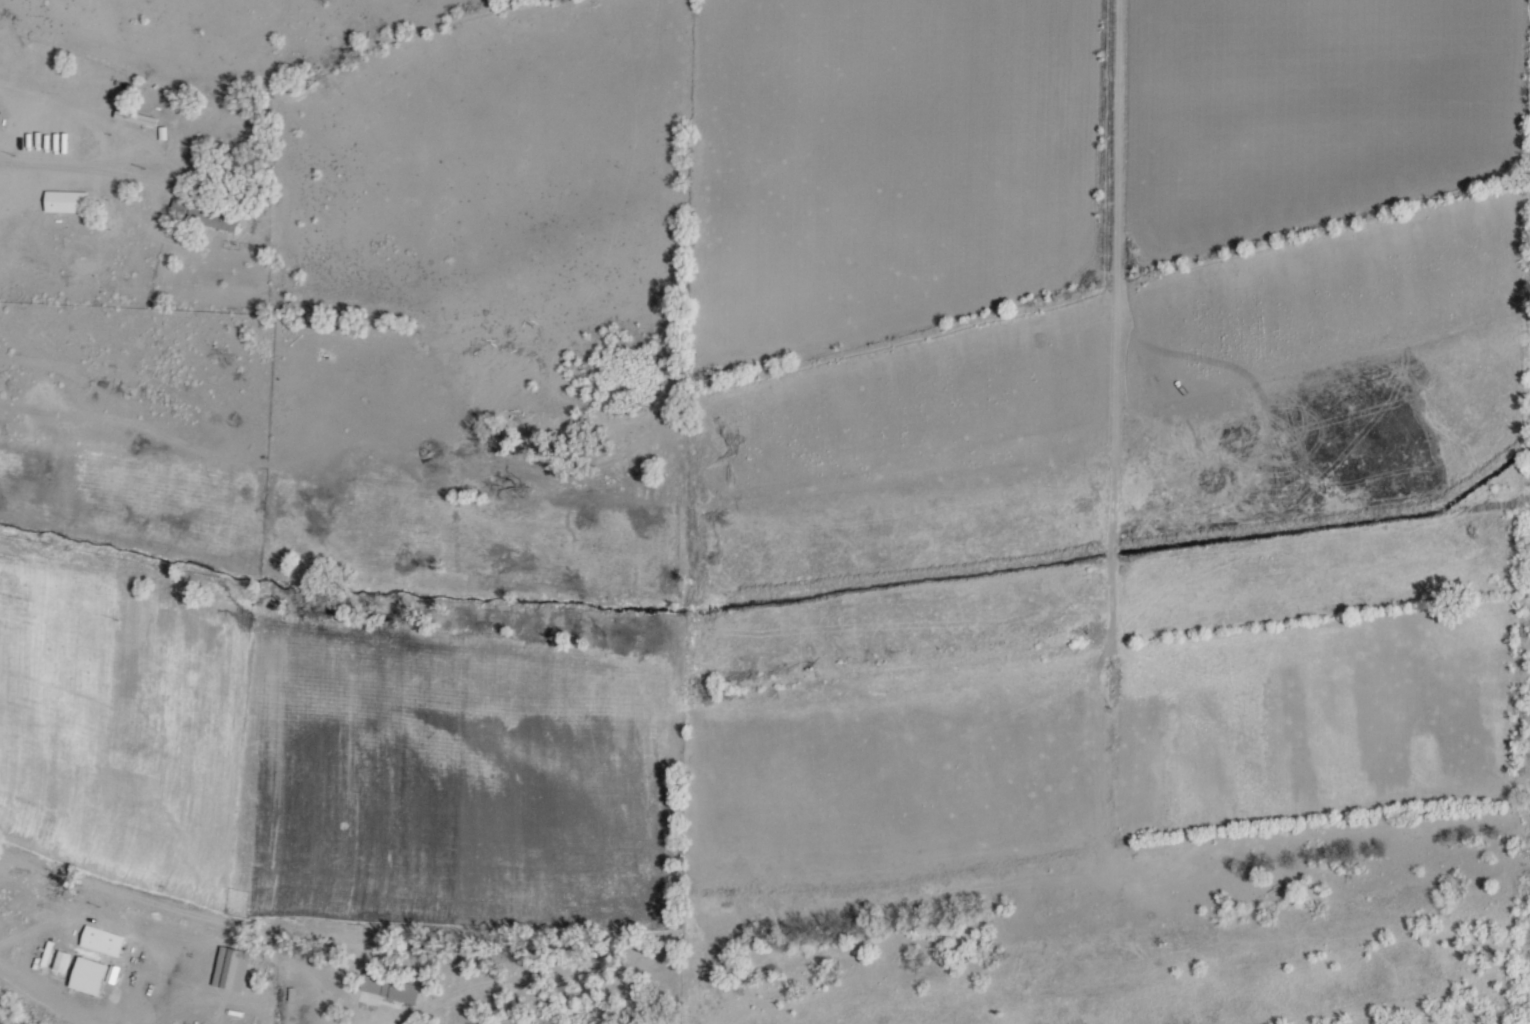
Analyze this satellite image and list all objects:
building: (68, 203)
road: (1116, 454)
building: (61, 961)
building: (87, 975)
building: (397, 990)
road: (23, 1011)

